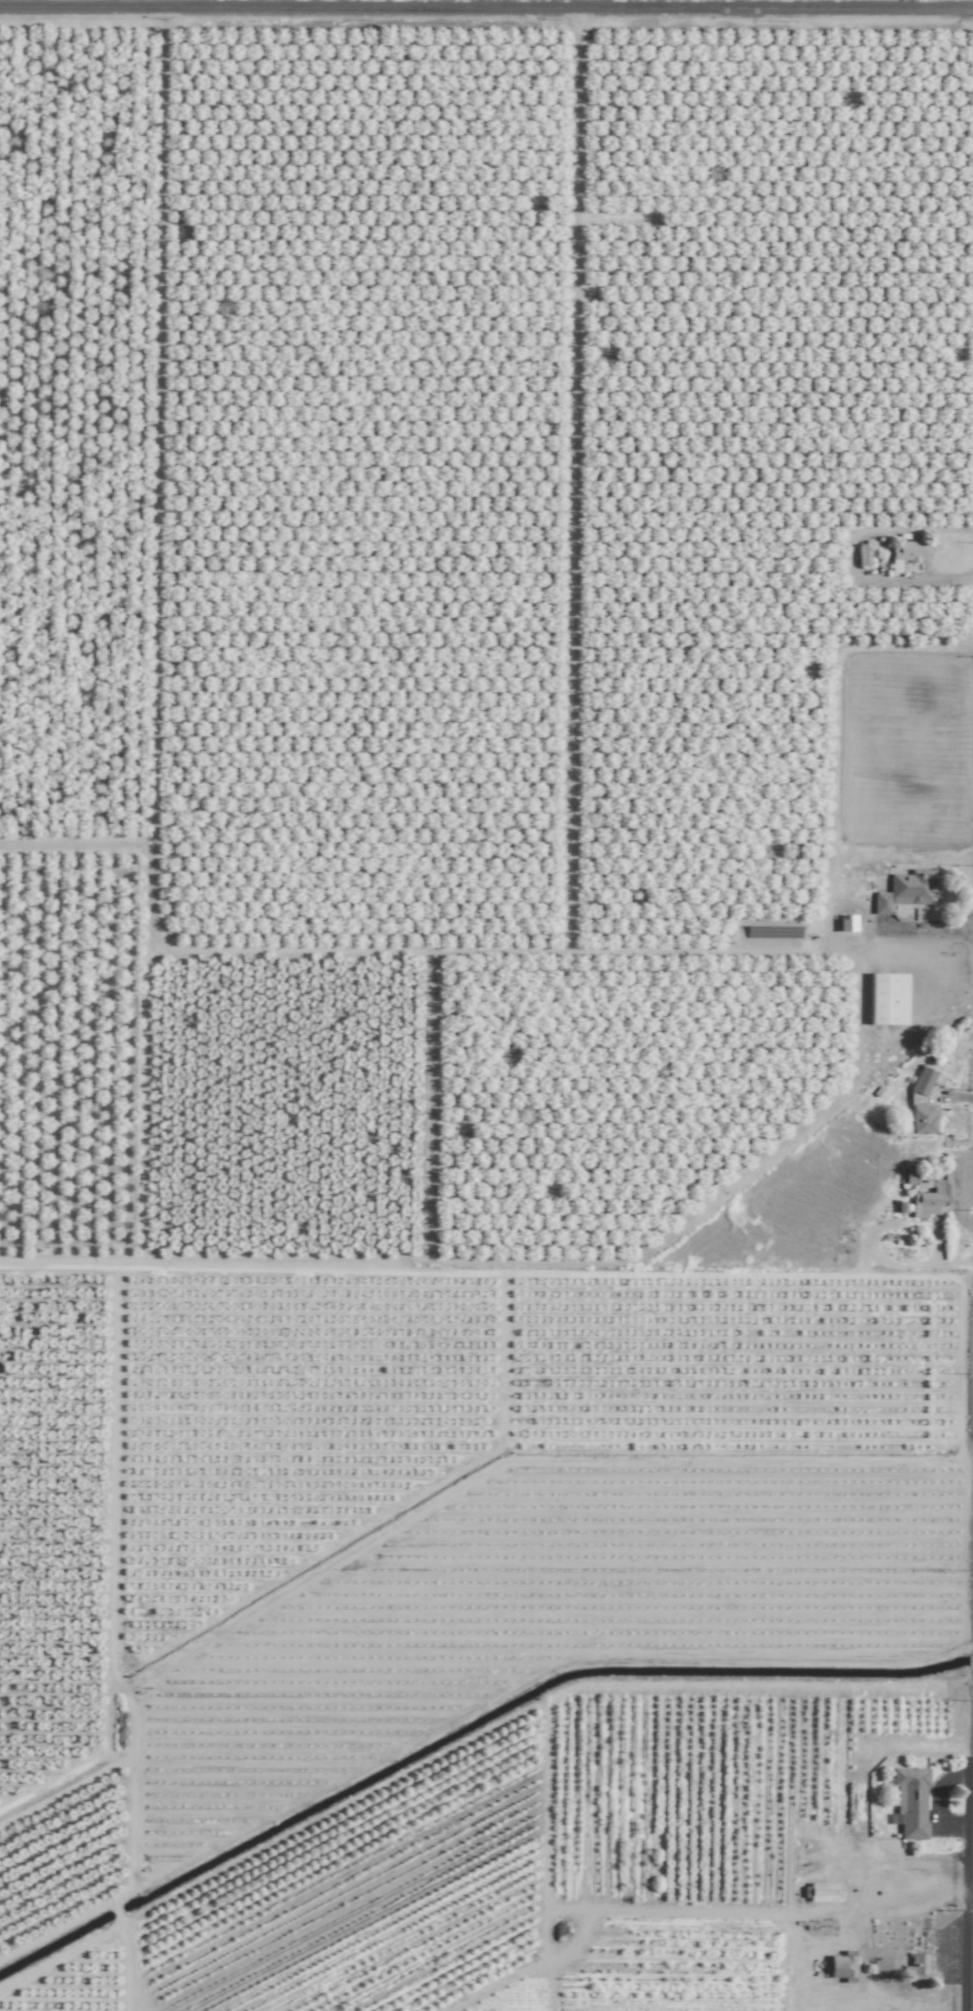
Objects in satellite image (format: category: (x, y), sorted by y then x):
road: (486, 8)
building: (906, 554)
building: (866, 555)
building: (905, 891)
building: (888, 999)
crop: (486, 1005)
building: (926, 1101)
building: (930, 1201)
building: (911, 1801)
building: (825, 1891)
building: (885, 1965)

